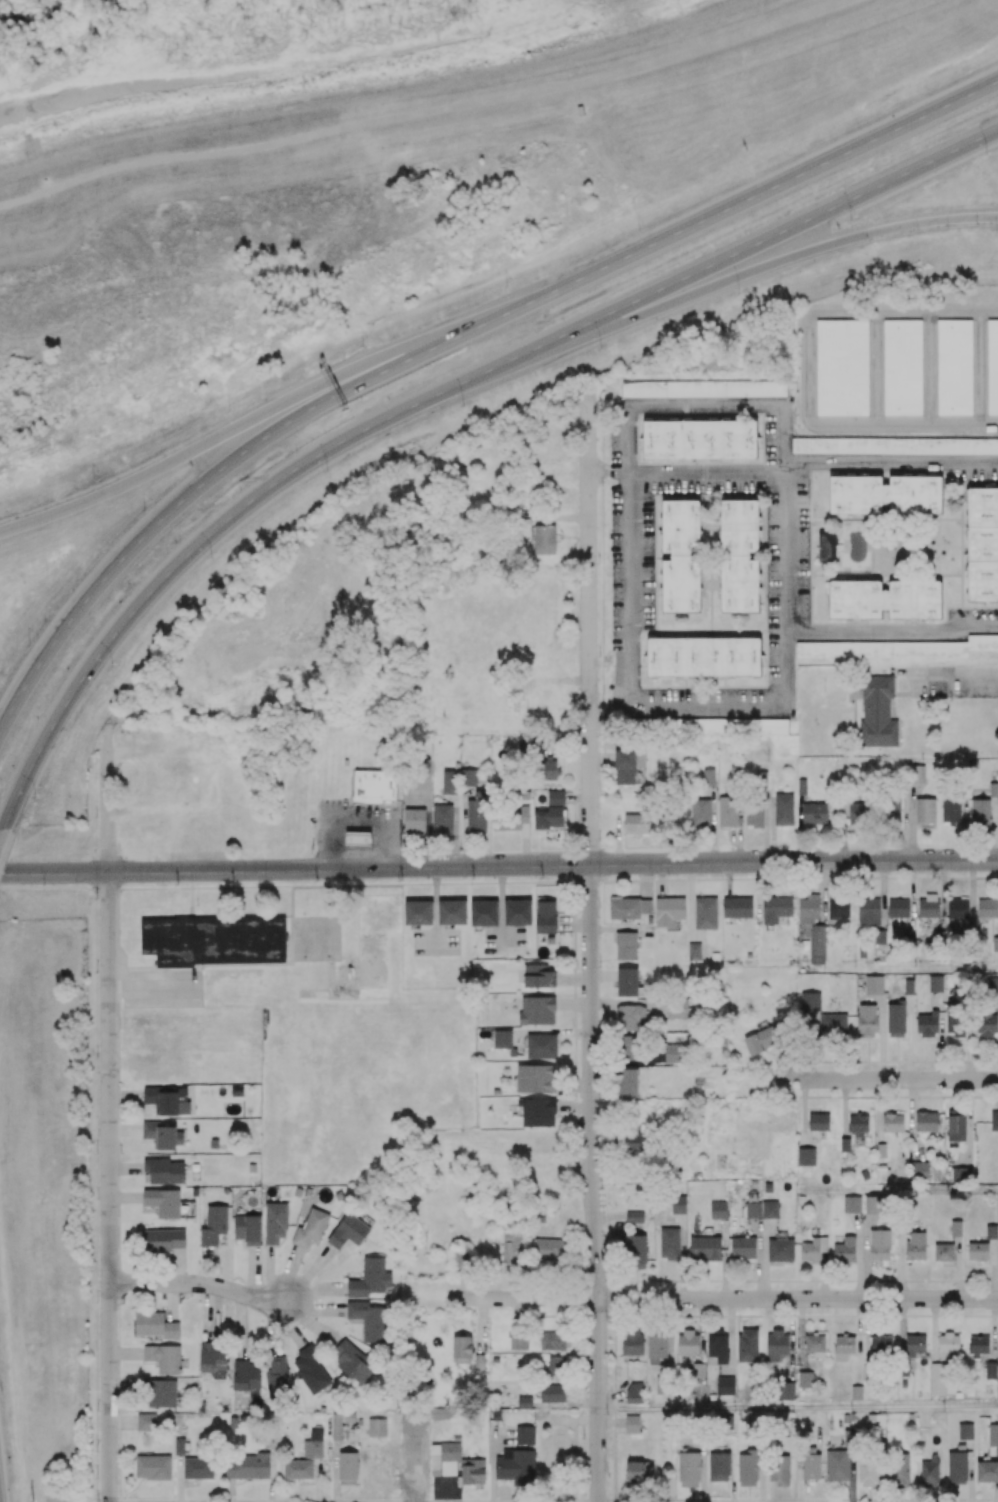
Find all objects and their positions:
road: (423, 115)
street lamp: (854, 221)
street lamp: (637, 230)
street lamp: (507, 286)
street lamp: (741, 294)
road: (447, 336)
street lamp: (361, 344)
street lamp: (601, 348)
building: (902, 367)
building: (954, 367)
building: (992, 367)
building: (842, 368)
building: (704, 389)
road: (500, 401)
road: (778, 407)
street lamp: (229, 412)
building: (699, 440)
road: (813, 462)
street lamp: (326, 474)
street lamp: (94, 480)
street lamp: (139, 506)
road: (444, 510)
street lamp: (211, 559)
road: (893, 632)
street lamp: (25, 644)
road: (589, 649)
street lamp: (112, 668)
road: (955, 672)
building: (973, 763)
building: (449, 781)
building: (525, 794)
street lamp: (37, 797)
building: (556, 797)
building: (414, 819)
building: (357, 838)
road: (498, 865)
traffic signals: (124, 872)
building: (737, 906)
building: (775, 907)
building: (669, 909)
building: (483, 911)
building: (517, 911)
building: (418, 912)
building: (452, 912)
building: (705, 912)
building: (213, 939)
building: (995, 943)
building: (625, 944)
building: (693, 951)
building: (748, 954)
building: (714, 957)
building: (683, 958)
road: (997, 961)
road: (929, 971)
building: (627, 981)
building: (935, 983)
building: (874, 984)
building: (908, 986)
building: (810, 1000)
road: (996, 1001)
road: (880, 1036)
road: (940, 1036)
road: (908, 1037)
building: (163, 1067)
road: (897, 1079)
road: (844, 1107)
road: (878, 1110)
road: (803, 1113)
road: (912, 1119)
road: (968, 1122)
road: (59, 1183)
road: (592, 1183)
road: (83, 1184)
road: (922, 1188)
building: (225, 1190)
building: (310, 1190)
building: (297, 1191)
building: (162, 1201)
building: (274, 1222)
building: (213, 1224)
building: (310, 1228)
road: (859, 1255)
road: (866, 1255)
road: (723, 1258)
road: (758, 1258)
road: (765, 1258)
road: (958, 1267)
road: (991, 1269)
road: (823, 1276)
road: (110, 1277)
road: (199, 1285)
road: (727, 1299)
road: (933, 1329)
road: (991, 1329)
road: (866, 1330)
road: (800, 1334)
road: (730, 1336)
road: (790, 1339)
road: (858, 1340)
building: (163, 1357)
street lamp: (1, 1389)
road: (798, 1408)
building: (349, 1417)
building: (336, 1426)
building: (375, 1427)
building: (153, 1466)
building: (198, 1467)
building: (298, 1468)

